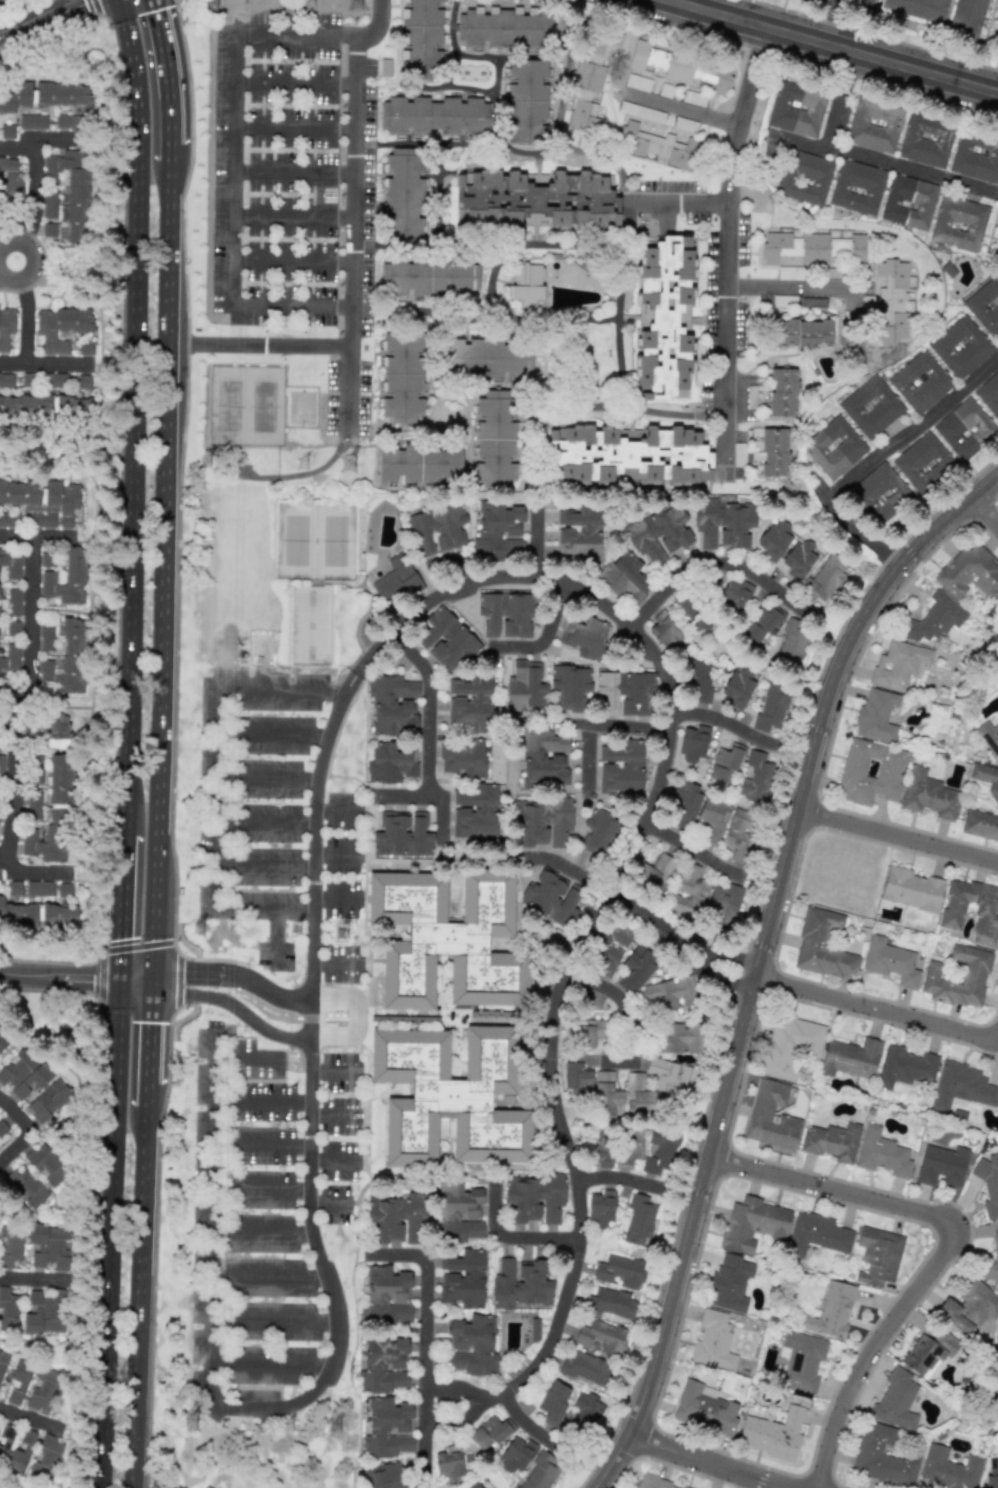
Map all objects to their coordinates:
building: (819, 0)
power tower: (315, 3)
building: (861, 4)
power tower: (361, 5)
power tower: (213, 6)
building: (918, 8)
road: (716, 13)
road: (39, 15)
building: (967, 19)
road: (827, 21)
road: (377, 25)
building: (504, 27)
building: (996, 33)
road: (342, 34)
building: (421, 39)
building: (604, 41)
road: (881, 59)
building: (681, 67)
road: (169, 71)
building: (588, 76)
road: (294, 83)
building: (46, 95)
building: (526, 101)
road: (684, 109)
building: (797, 109)
building: (584, 115)
building: (434, 116)
building: (32, 121)
building: (68, 121)
building: (874, 125)
road: (294, 128)
building: (7, 131)
building: (926, 140)
building: (657, 146)
road: (562, 148)
road: (172, 152)
building: (975, 157)
road: (885, 160)
road: (293, 171)
building: (804, 178)
road: (31, 179)
building: (10, 180)
building: (857, 187)
building: (403, 196)
building: (534, 200)
building: (909, 202)
road: (678, 203)
building: (50, 204)
road: (294, 215)
building: (959, 223)
building: (49, 229)
road: (725, 247)
building: (813, 248)
building: (996, 254)
road: (293, 260)
road: (7, 266)
building: (428, 277)
building: (525, 285)
road: (797, 288)
building: (892, 300)
road: (295, 303)
building: (985, 305)
road: (27, 311)
building: (664, 319)
building: (6, 327)
building: (60, 328)
building: (801, 333)
road: (260, 344)
building: (961, 347)
building: (85, 348)
building: (486, 358)
road: (41, 364)
building: (401, 377)
building: (6, 380)
building: (920, 382)
building: (783, 392)
building: (989, 394)
building: (871, 407)
road: (680, 414)
road: (134, 415)
building: (965, 428)
building: (494, 438)
building: (834, 447)
building: (770, 451)
building: (630, 455)
road: (875, 457)
power tower: (207, 462)
building: (923, 462)
power tower: (308, 464)
building: (418, 464)
power tower: (351, 465)
building: (879, 494)
building: (42, 501)
road: (984, 509)
building: (7, 520)
building: (723, 522)
building: (437, 529)
building: (498, 532)
building: (580, 532)
building: (658, 533)
road: (18, 535)
road: (52, 536)
road: (543, 538)
building: (774, 540)
building: (798, 558)
building: (46, 559)
building: (11, 562)
road: (708, 564)
road: (167, 570)
building: (970, 572)
building: (625, 578)
building: (825, 578)
building: (66, 580)
building: (395, 580)
building: (735, 595)
building: (13, 602)
building: (507, 614)
road: (554, 616)
building: (934, 618)
road: (29, 623)
building: (761, 623)
building: (666, 631)
building: (46, 636)
building: (585, 637)
building: (446, 640)
building: (793, 643)
road: (515, 647)
building: (10, 660)
building: (66, 660)
building: (898, 663)
building: (698, 680)
building: (570, 686)
road: (215, 687)
building: (525, 687)
building: (738, 687)
building: (626, 691)
building: (470, 703)
building: (392, 704)
road: (432, 704)
building: (772, 706)
building: (876, 715)
road: (729, 721)
road: (600, 727)
building: (57, 730)
road: (271, 736)
building: (989, 737)
building: (693, 743)
building: (463, 758)
building: (544, 759)
building: (1, 764)
building: (390, 764)
building: (724, 764)
building: (621, 767)
building: (870, 772)
road: (13, 773)
building: (36, 776)
building: (757, 777)
building: (986, 778)
road: (265, 780)
road: (430, 792)
building: (928, 794)
building: (34, 806)
building: (695, 808)
road: (339, 809)
building: (475, 811)
building: (53, 816)
building: (543, 822)
building: (980, 824)
building: (598, 832)
building: (739, 833)
building: (402, 834)
road: (896, 836)
road: (686, 846)
road: (334, 854)
road: (264, 864)
road: (214, 865)
road: (569, 868)
road: (24, 871)
building: (654, 873)
building: (39, 888)
building: (911, 889)
building: (64, 890)
building: (689, 891)
road: (606, 896)
road: (337, 899)
building: (722, 906)
road: (123, 907)
building: (953, 910)
building: (37, 915)
power tower: (200, 929)
power tower: (348, 932)
power tower: (302, 933)
road: (274, 938)
building: (446, 938)
road: (680, 940)
building: (822, 946)
building: (609, 949)
road: (761, 956)
building: (891, 961)
road: (337, 964)
building: (636, 969)
building: (975, 970)
road: (235, 972)
road: (60, 978)
road: (137, 980)
building: (670, 993)
road: (615, 995)
road: (232, 1008)
road: (877, 1011)
road: (354, 1018)
road: (152, 1030)
building: (590, 1032)
building: (679, 1038)
building: (2, 1041)
building: (790, 1045)
road: (119, 1058)
building: (851, 1058)
building: (905, 1066)
road: (333, 1071)
building: (23, 1074)
building: (577, 1076)
building: (655, 1084)
building: (962, 1086)
road: (149, 1094)
building: (607, 1095)
building: (449, 1096)
road: (262, 1097)
building: (48, 1101)
road: (332, 1116)
building: (771, 1116)
building: (3, 1129)
road: (29, 1129)
building: (832, 1141)
building: (629, 1146)
road: (261, 1147)
building: (601, 1148)
building: (659, 1152)
building: (882, 1153)
road: (332, 1159)
building: (46, 1165)
building: (942, 1165)
road: (622, 1182)
building: (989, 1183)
building: (26, 1188)
road: (261, 1189)
building: (534, 1198)
road: (327, 1204)
building: (600, 1209)
building: (457, 1213)
building: (398, 1217)
building: (639, 1220)
building: (753, 1224)
road: (262, 1233)
building: (816, 1234)
road: (144, 1239)
road: (955, 1241)
road: (501, 1243)
building: (10, 1245)
building: (49, 1247)
road: (311, 1247)
building: (878, 1256)
building: (991, 1263)
building: (620, 1272)
road: (272, 1274)
road: (31, 1279)
building: (462, 1279)
building: (519, 1283)
building: (729, 1283)
building: (385, 1296)
building: (611, 1303)
building: (969, 1307)
building: (9, 1308)
building: (831, 1311)
building: (45, 1312)
road: (110, 1312)
road: (275, 1314)
building: (601, 1337)
building: (713, 1342)
building: (471, 1344)
road: (421, 1348)
building: (928, 1352)
building: (802, 1361)
building: (3, 1362)
road: (272, 1363)
building: (383, 1364)
building: (586, 1368)
building: (32, 1386)
building: (895, 1400)
building: (553, 1402)
building: (704, 1408)
building: (587, 1409)
road: (15, 1415)
power tower: (193, 1424)
power tower: (295, 1427)
building: (387, 1428)
power tower: (342, 1429)
road: (138, 1430)
road: (536, 1431)
building: (488, 1432)
building: (774, 1434)
building: (5, 1441)
park: (259, 1447)
building: (21, 1451)
building: (516, 1455)
building: (46, 1456)
building: (882, 1457)
road: (708, 1464)
building: (449, 1465)
building: (948, 1469)
building: (539, 1473)
building: (992, 1474)
building: (383, 1476)
building: (653, 1482)
building: (473, 1486)

